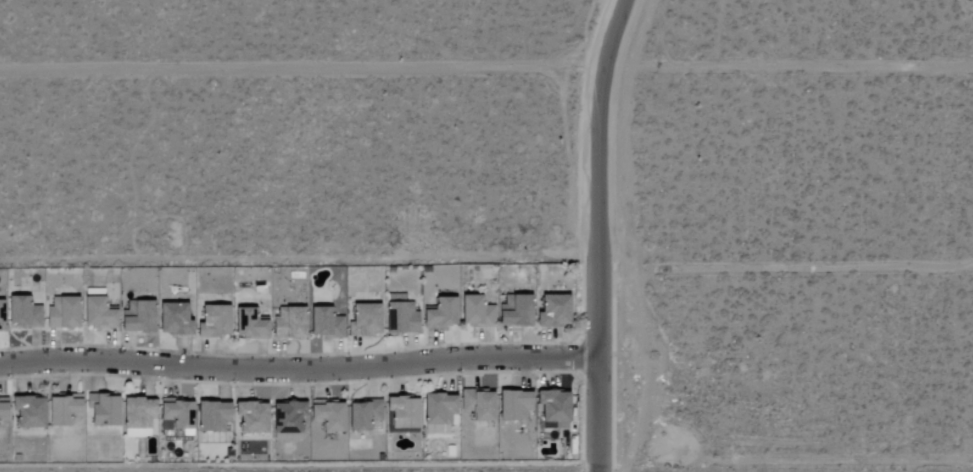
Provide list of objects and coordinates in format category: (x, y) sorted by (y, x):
road: (602, 233)
building: (514, 311)
building: (474, 312)
building: (552, 312)
building: (22, 313)
building: (61, 313)
building: (96, 314)
building: (440, 314)
building: (0, 317)
building: (136, 317)
building: (400, 318)
building: (172, 319)
building: (363, 320)
building: (212, 322)
building: (324, 323)
building: (289, 324)
building: (248, 325)
road: (301, 372)
building: (477, 404)
building: (513, 405)
building: (553, 408)
building: (2, 409)
building: (62, 409)
building: (102, 410)
building: (27, 412)
building: (402, 412)
building: (437, 413)
building: (174, 415)
building: (326, 415)
building: (362, 415)
building: (137, 417)
building: (211, 417)
building: (250, 417)
building: (286, 421)

